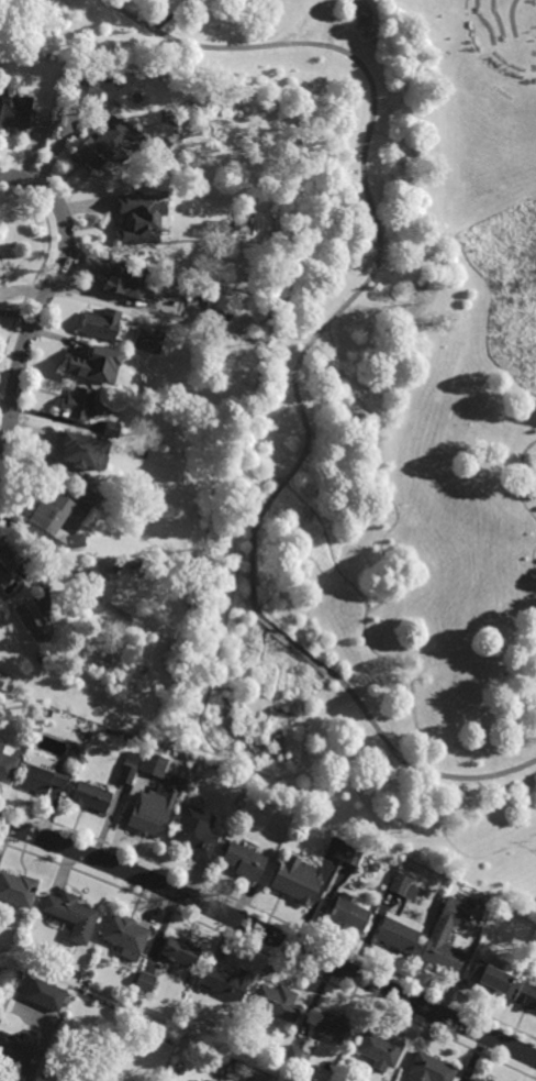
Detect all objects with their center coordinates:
building: (5, 69)
building: (83, 91)
building: (12, 114)
building: (105, 151)
building: (135, 191)
building: (141, 218)
road: (66, 252)
building: (116, 284)
building: (143, 304)
building: (159, 307)
building: (100, 326)
building: (146, 341)
building: (79, 359)
road: (297, 367)
building: (77, 405)
road: (10, 418)
park: (376, 423)
building: (111, 429)
building: (71, 443)
road: (338, 448)
road: (527, 477)
road: (271, 478)
building: (57, 512)
building: (9, 554)
road: (533, 558)
road: (387, 587)
building: (27, 613)
road: (394, 659)
building: (1, 680)
road: (209, 720)
building: (154, 764)
building: (7, 765)
building: (127, 770)
building: (42, 775)
building: (90, 796)
building: (147, 818)
road: (427, 827)
building: (194, 836)
building: (336, 848)
building: (354, 854)
building: (243, 861)
building: (295, 881)
building: (400, 884)
building: (18, 890)
building: (349, 913)
building: (71, 916)
building: (399, 933)
road: (270, 935)
building: (124, 936)
building: (444, 940)
building: (179, 951)
building: (489, 978)
building: (224, 982)
building: (144, 983)
building: (44, 994)
building: (526, 997)
building: (277, 1003)
building: (56, 1011)
building: (334, 1028)
building: (167, 1041)
building: (380, 1051)
building: (15, 1054)
building: (292, 1055)
building: (428, 1070)
building: (233, 1071)
building: (67, 1074)
building: (204, 1080)
building: (477, 1080)

